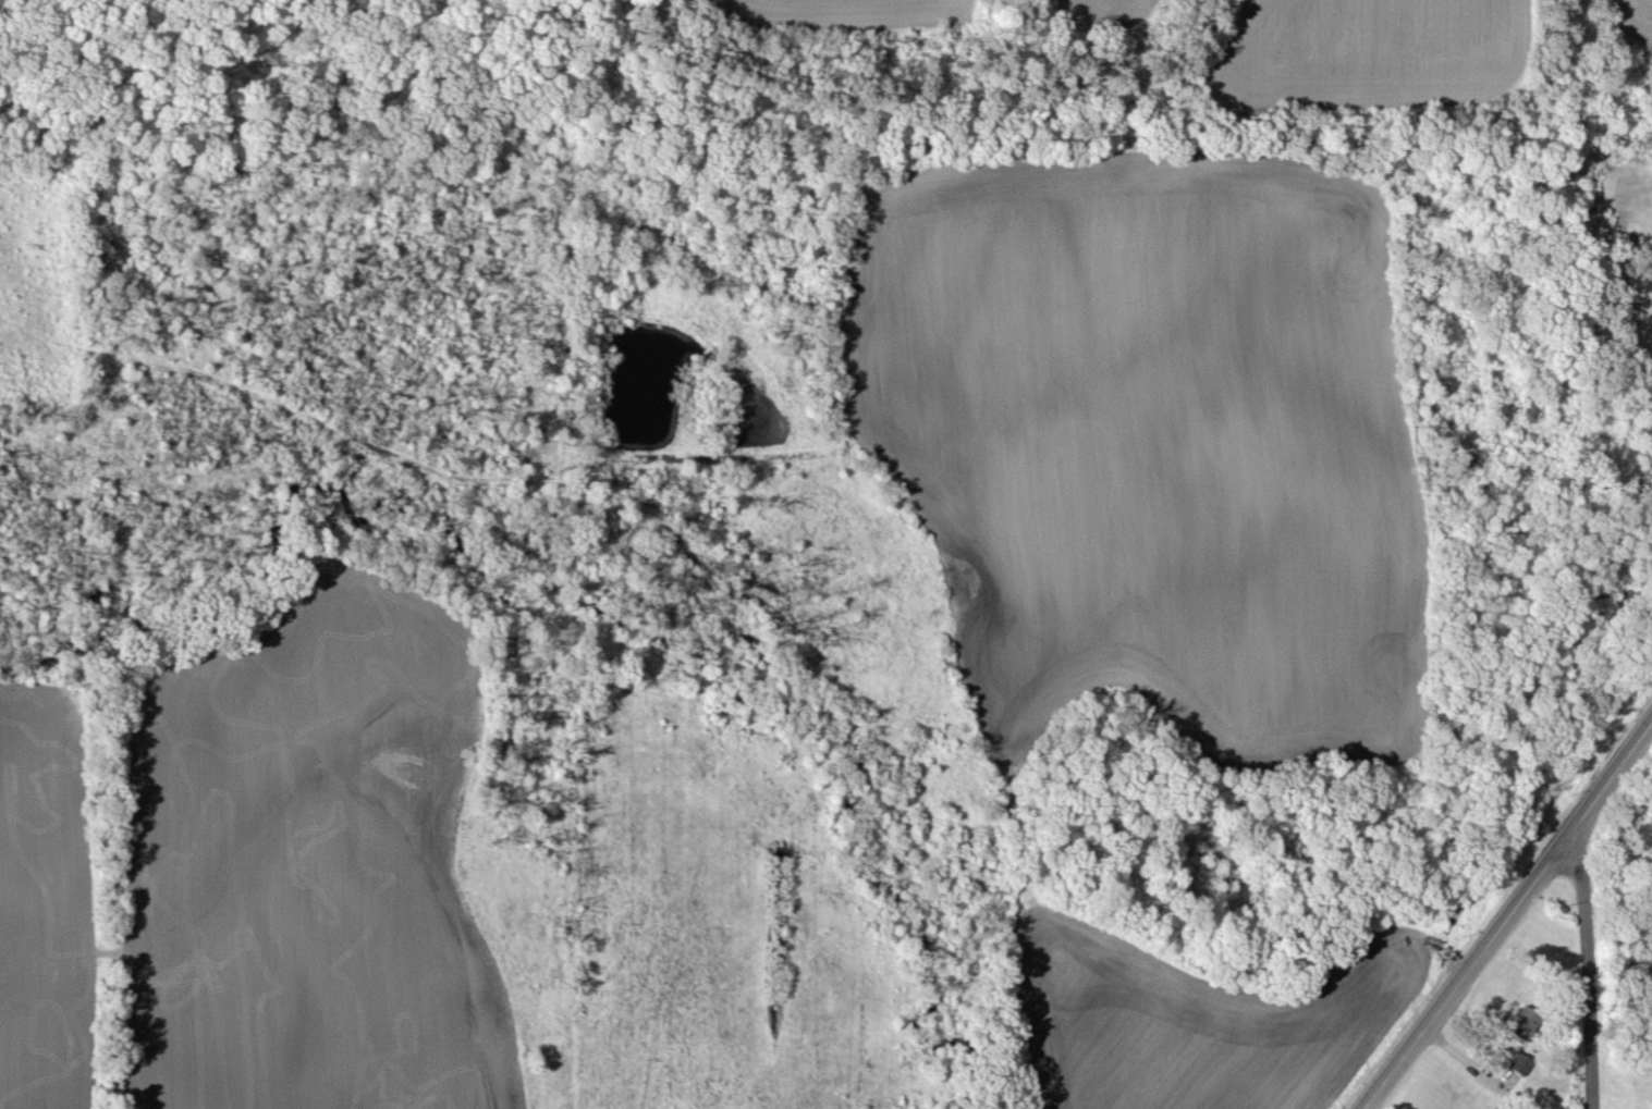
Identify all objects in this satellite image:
road: (1508, 917)
road: (1582, 968)
building: (1521, 1021)
building: (1517, 1061)

